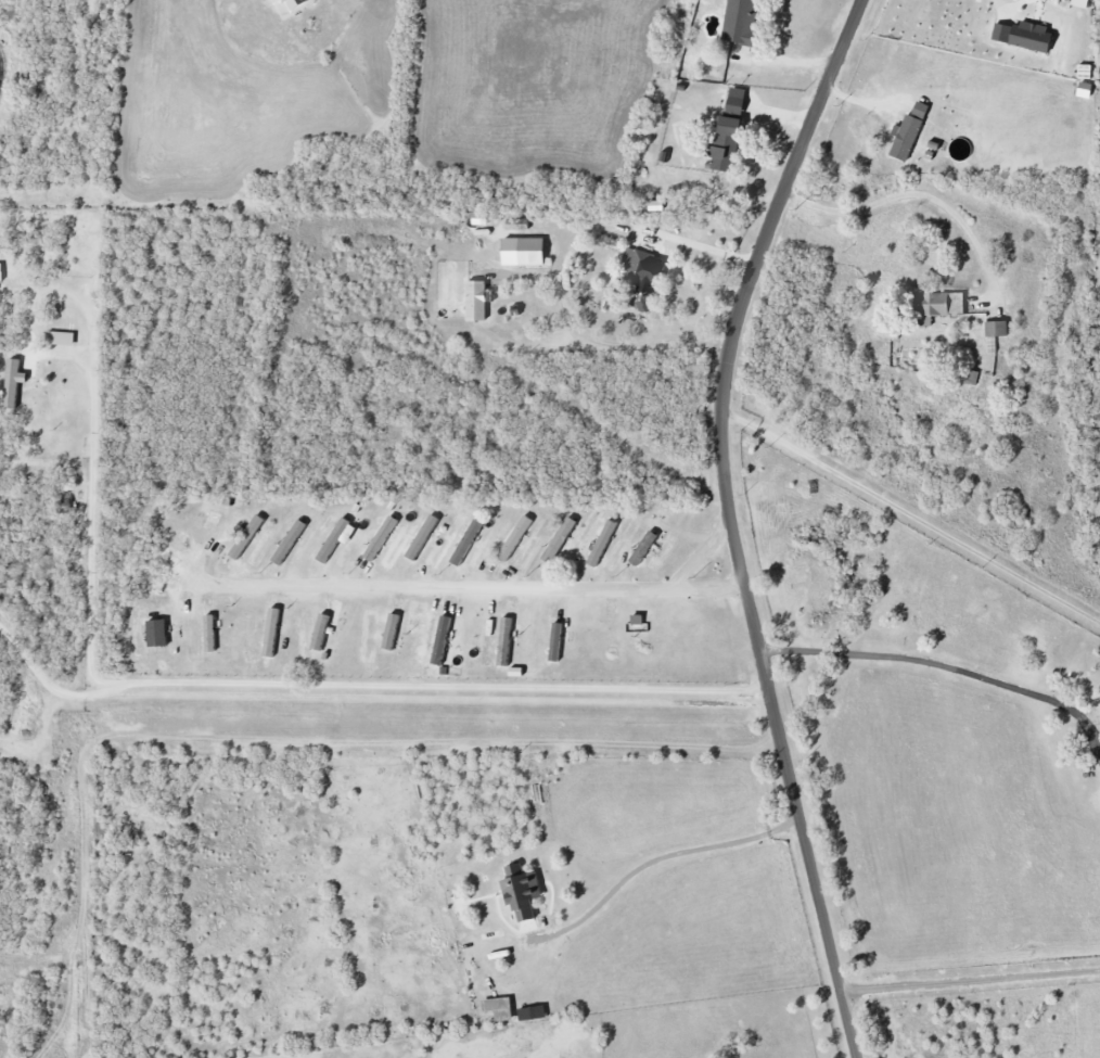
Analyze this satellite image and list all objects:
building: (300, 5)
road: (1014, 5)
building: (742, 22)
building: (1025, 38)
building: (738, 101)
building: (909, 132)
building: (728, 146)
road: (913, 191)
building: (525, 252)
road: (557, 263)
building: (639, 275)
building: (477, 302)
building: (933, 307)
building: (997, 336)
building: (61, 340)
building: (14, 384)
road: (913, 515)
building: (213, 522)
road: (732, 523)
building: (247, 538)
building: (515, 538)
building: (424, 539)
building: (561, 539)
building: (334, 540)
building: (290, 543)
building: (468, 543)
building: (603, 544)
building: (644, 548)
road: (700, 558)
road: (434, 590)
road: (706, 594)
building: (392, 633)
building: (158, 634)
building: (442, 641)
road: (939, 668)
road: (159, 681)
road: (47, 687)
road: (661, 859)
building: (523, 893)
road: (971, 978)
building: (533, 1014)

